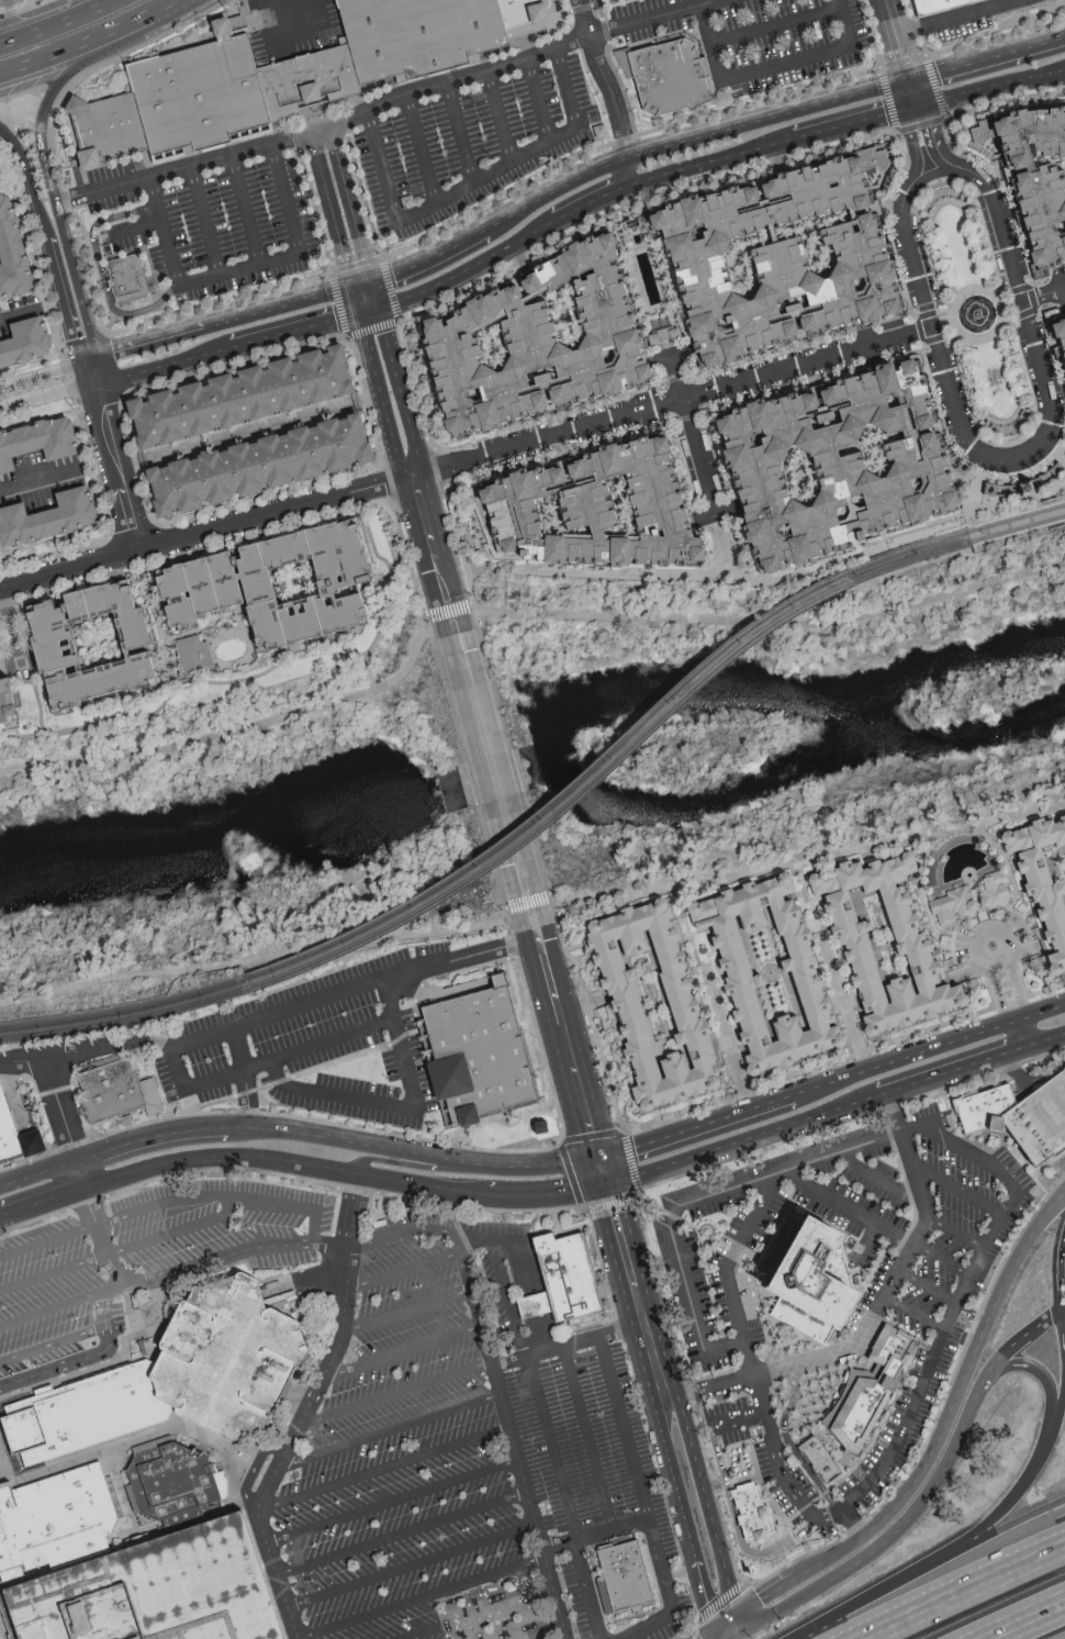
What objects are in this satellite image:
building: (930, 4)
road: (42, 7)
road: (165, 12)
road: (291, 12)
road: (652, 16)
road: (890, 18)
road: (964, 19)
road: (58, 23)
road: (773, 24)
road: (71, 51)
road: (903, 59)
road: (987, 62)
road: (767, 66)
road: (65, 76)
building: (281, 77)
road: (603, 79)
building: (675, 82)
traffic signals: (909, 82)
road: (990, 88)
road: (912, 94)
road: (538, 99)
traffic signals: (916, 107)
road: (501, 114)
road: (769, 120)
road: (854, 123)
road: (324, 130)
road: (461, 131)
road: (422, 146)
road: (14, 148)
road: (713, 160)
road: (630, 174)
road: (933, 175)
building: (1029, 179)
road: (471, 181)
road: (324, 183)
road: (558, 193)
road: (593, 202)
road: (35, 203)
road: (350, 207)
road: (245, 210)
road: (206, 221)
road: (138, 226)
building: (764, 257)
building: (8, 258)
road: (69, 259)
road: (345, 263)
road: (426, 263)
road: (239, 270)
road: (101, 274)
road: (464, 274)
road: (1013, 275)
building: (134, 283)
traffic signals: (361, 287)
road: (1000, 292)
road: (1042, 294)
road: (956, 298)
road: (60, 301)
road: (365, 301)
road: (922, 301)
road: (283, 306)
road: (944, 310)
road: (20, 313)
fountain: (977, 314)
traffic signals: (369, 315)
road: (300, 333)
building: (18, 342)
road: (150, 342)
building: (520, 342)
building: (1054, 349)
road: (88, 359)
road: (167, 368)
road: (100, 370)
road: (40, 375)
road: (83, 376)
road: (96, 387)
road: (102, 395)
building: (228, 397)
road: (94, 398)
road: (44, 402)
road: (692, 430)
road: (255, 431)
building: (34, 439)
road: (466, 465)
building: (820, 466)
building: (242, 467)
road: (412, 467)
road: (121, 478)
road: (37, 487)
building: (571, 512)
railway: (1016, 516)
building: (43, 517)
railway: (965, 521)
railway: (1018, 526)
railway: (941, 538)
railway: (972, 546)
railway: (944, 547)
building: (257, 587)
road: (400, 595)
road: (450, 621)
road: (772, 623)
road: (10, 627)
building: (75, 646)
building: (187, 654)
road: (173, 688)
building: (0, 716)
road: (229, 725)
river: (530, 763)
railway: (587, 772)
road: (496, 776)
railway: (592, 782)
road: (810, 857)
building: (1040, 879)
building: (990, 890)
building: (950, 905)
road: (531, 908)
building: (879, 937)
building: (912, 944)
road: (495, 951)
road: (254, 960)
building: (770, 974)
building: (805, 974)
road: (1012, 980)
road: (995, 986)
road: (309, 1001)
building: (641, 1002)
railway: (124, 1010)
road: (847, 1012)
road: (1042, 1012)
railway: (125, 1019)
road: (1023, 1034)
road: (1046, 1040)
parking lot: (321, 1043)
road: (570, 1043)
road: (729, 1044)
road: (107, 1049)
road: (1019, 1050)
building: (483, 1055)
road: (906, 1059)
road: (267, 1061)
road: (1018, 1072)
road: (944, 1075)
road: (244, 1078)
building: (116, 1092)
road: (58, 1105)
road: (402, 1108)
building: (1021, 1116)
road: (697, 1128)
building: (15, 1137)
road: (152, 1137)
road: (348, 1141)
road: (743, 1142)
traffic signals: (601, 1155)
road: (222, 1160)
road: (534, 1164)
road: (407, 1167)
road: (604, 1170)
road: (37, 1173)
road: (879, 1177)
road: (1007, 1181)
traffic signals: (608, 1185)
road: (425, 1188)
road: (956, 1193)
road: (549, 1195)
road: (221, 1198)
road: (44, 1203)
road: (849, 1211)
road: (1, 1217)
road: (412, 1229)
road: (177, 1234)
road: (954, 1234)
road: (48, 1242)
road: (490, 1242)
road: (626, 1255)
parking lot: (143, 1256)
road: (940, 1260)
road: (1058, 1266)
road: (186, 1269)
road: (404, 1271)
road: (54, 1275)
road: (730, 1275)
road: (309, 1281)
building: (575, 1284)
building: (812, 1284)
road: (926, 1289)
road: (116, 1290)
parking lot: (503, 1298)
road: (532, 1298)
road: (508, 1302)
road: (1063, 1304)
road: (53, 1311)
road: (410, 1312)
road: (874, 1313)
road: (912, 1315)
road: (346, 1316)
road: (1018, 1337)
road: (55, 1346)
road: (570, 1346)
road: (405, 1353)
road: (81, 1360)
road: (655, 1362)
road: (1062, 1374)
building: (173, 1380)
building: (876, 1391)
road: (397, 1394)
road: (951, 1400)
road: (739, 1424)
road: (392, 1432)
road: (588, 1439)
road: (133, 1441)
road: (518, 1445)
parking lot: (401, 1449)
road: (1036, 1457)
building: (815, 1458)
building: (828, 1461)
road: (259, 1469)
road: (385, 1469)
road: (272, 1474)
parking lot: (588, 1475)
road: (672, 1476)
building: (175, 1483)
road: (563, 1498)
road: (640, 1499)
road: (394, 1503)
road: (707, 1503)
building: (746, 1509)
building: (57, 1519)
road: (850, 1520)
road: (739, 1530)
road: (889, 1534)
road: (404, 1535)
road: (596, 1535)
road: (923, 1563)
road: (413, 1566)
road: (274, 1571)
building: (625, 1576)
building: (156, 1590)
road: (702, 1590)
road: (962, 1591)
road: (764, 1594)
road: (424, 1597)
traffic signals: (735, 1614)
road: (728, 1617)
road: (1018, 1617)
traffic signals: (721, 1621)
road: (735, 1624)
road: (728, 1627)
road: (708, 1629)
road: (427, 1634)
traffic signals: (735, 1634)
building: (1, 1636)
road: (729, 1636)
road: (0, 1638)
road: (693, 1638)

